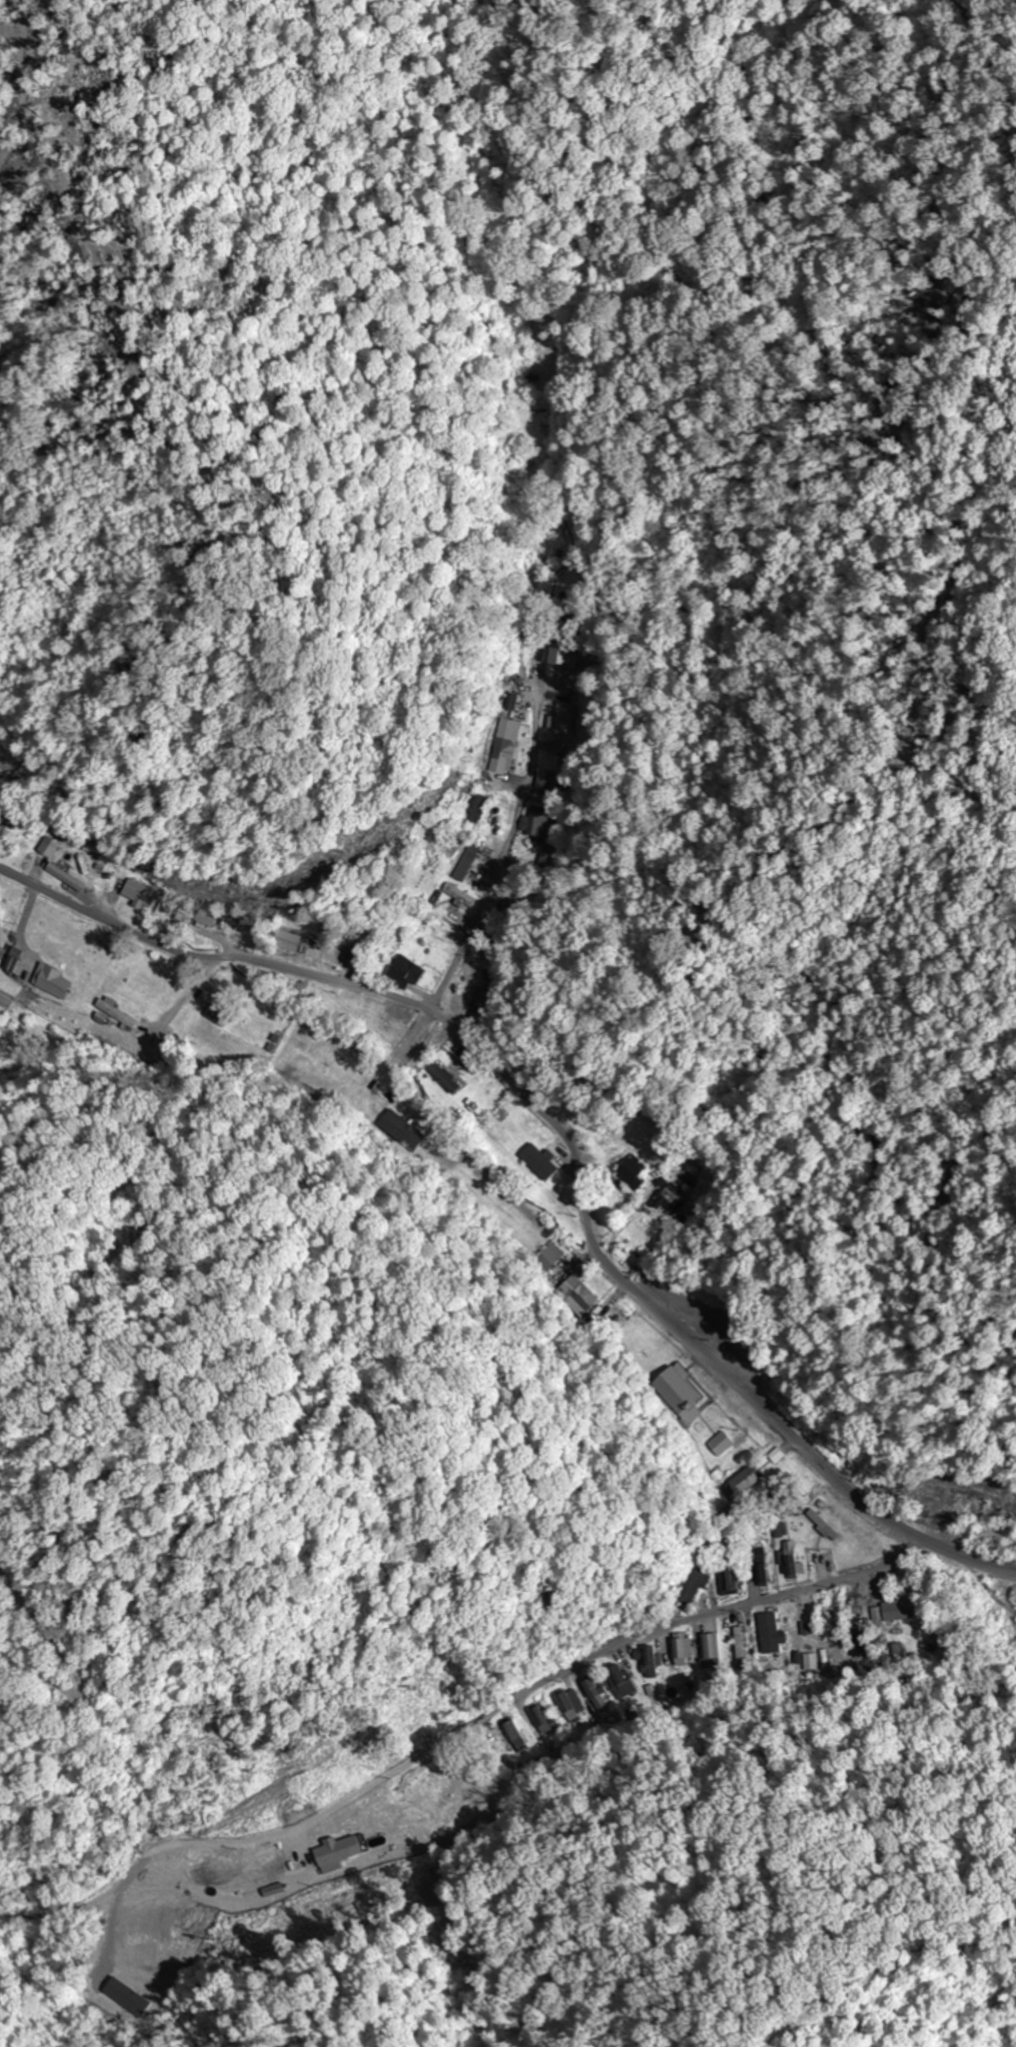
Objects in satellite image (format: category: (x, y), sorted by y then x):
building: (555, 652)
building: (560, 721)
building: (506, 747)
building: (540, 780)
building: (478, 809)
building: (537, 825)
building: (49, 847)
building: (468, 863)
road: (494, 871)
building: (66, 878)
building: (140, 894)
building: (459, 896)
building: (407, 974)
building: (470, 974)
building: (477, 999)
building: (418, 1033)
building: (401, 1132)
road: (568, 1140)
building: (634, 1172)
parking lot: (723, 1327)
building: (685, 1388)
building: (741, 1476)
building: (824, 1526)
building: (789, 1560)
building: (762, 1576)
building: (732, 1581)
building: (880, 1613)
road: (695, 1617)
building: (825, 1619)
building: (771, 1635)
building: (735, 1647)
building: (709, 1650)
building: (679, 1654)
building: (649, 1663)
building: (592, 1690)
building: (564, 1704)
building: (515, 1737)

